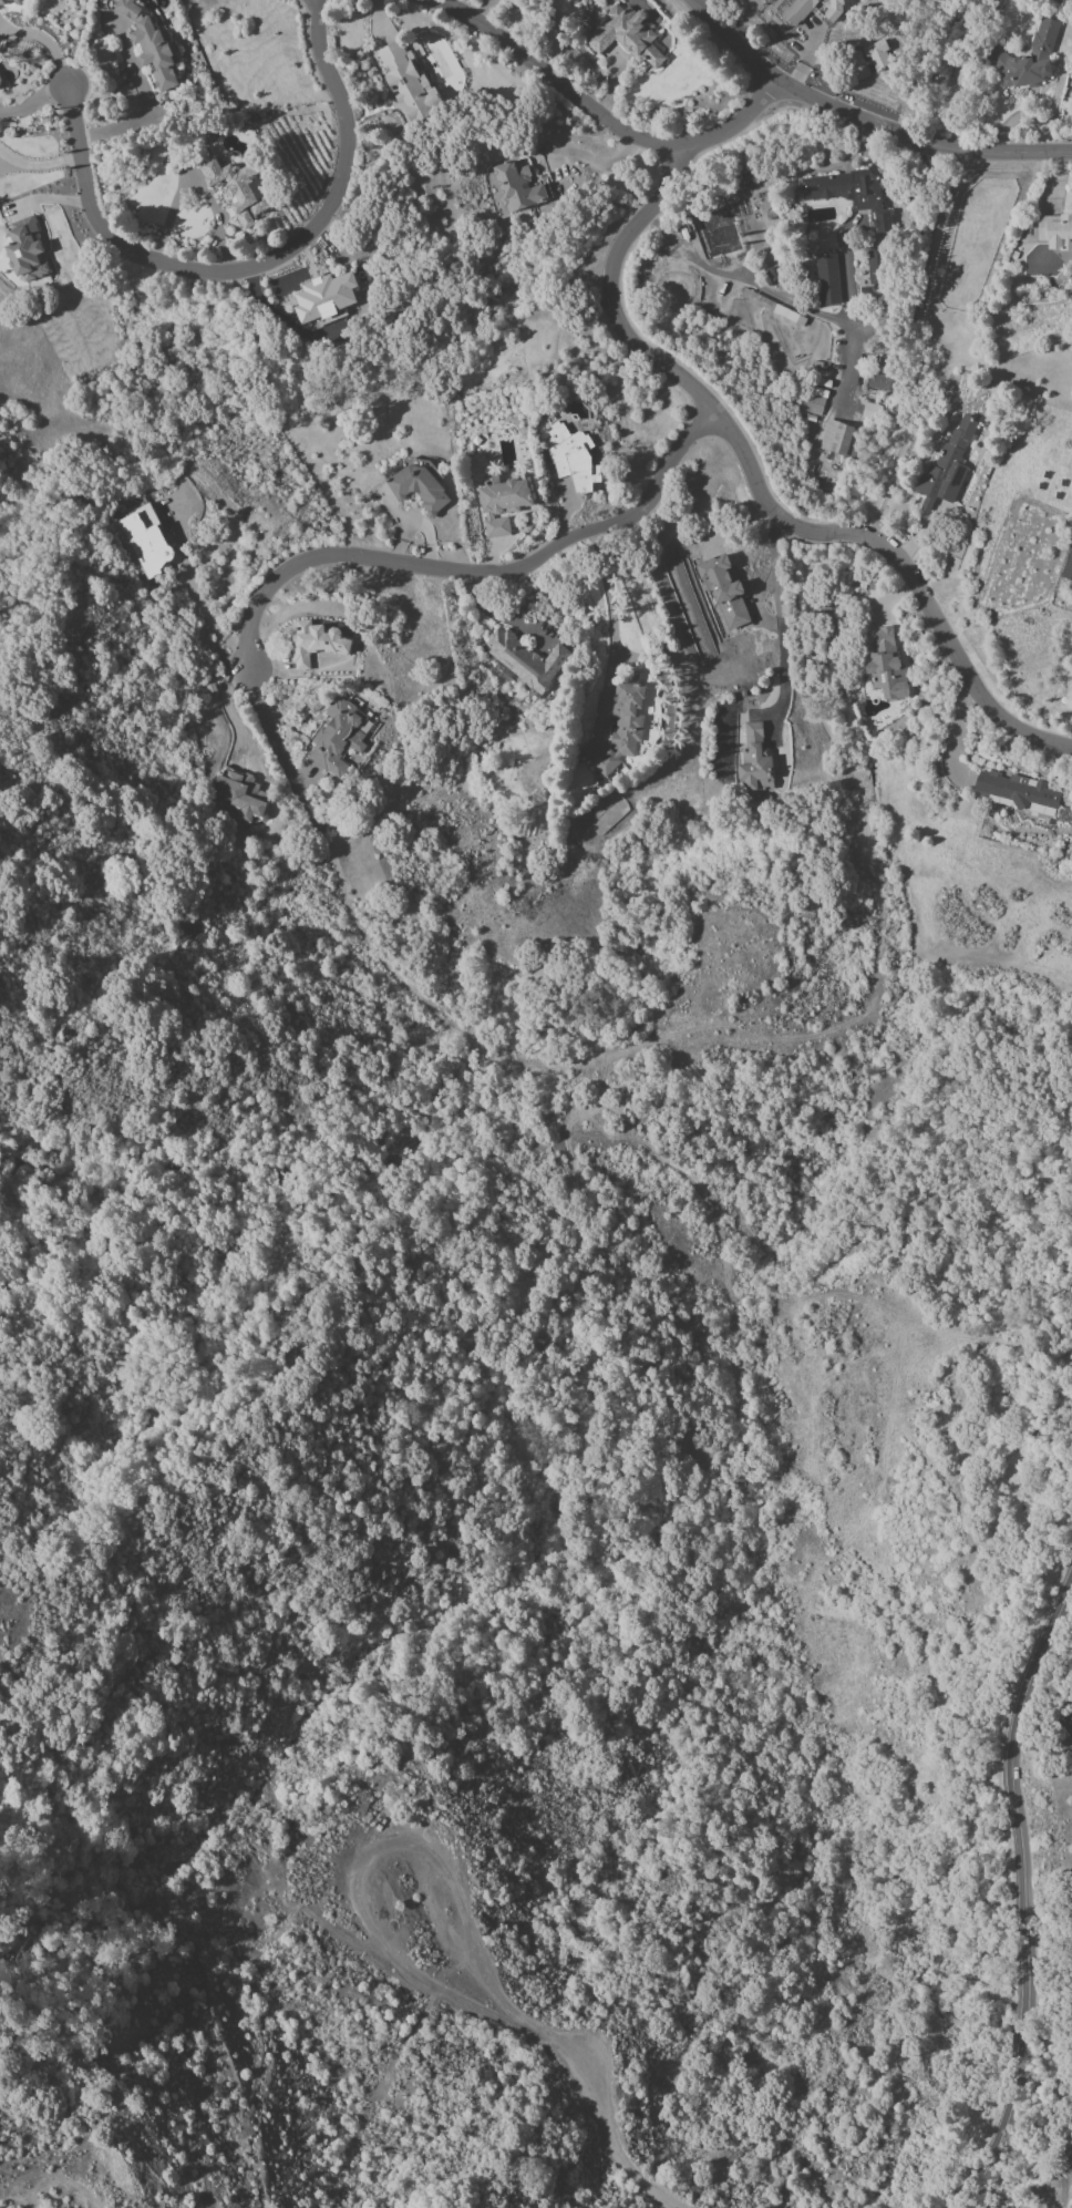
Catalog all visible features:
building: (767, 0)
building: (797, 10)
building: (833, 10)
building: (625, 35)
road: (45, 41)
building: (151, 45)
building: (878, 55)
building: (1027, 61)
building: (409, 82)
road: (34, 100)
road: (600, 116)
road: (864, 119)
road: (138, 120)
road: (40, 164)
building: (518, 186)
building: (236, 188)
building: (847, 193)
building: (1055, 233)
building: (24, 250)
road: (255, 266)
building: (827, 279)
road: (844, 279)
building: (324, 297)
road: (854, 322)
road: (929, 345)
road: (846, 361)
building: (878, 381)
building: (814, 400)
building: (836, 438)
building: (571, 458)
building: (947, 464)
building: (413, 485)
road: (761, 497)
building: (502, 503)
building: (144, 541)
road: (474, 573)
building: (723, 589)
road: (195, 594)
road: (608, 612)
road: (780, 622)
building: (322, 636)
building: (523, 659)
building: (884, 664)
road: (228, 712)
building: (625, 728)
road: (951, 736)
road: (277, 753)
building: (754, 760)
building: (1016, 790)
building: (241, 793)
crop: (49, 1616)
building: (1068, 1721)
road: (368, 1856)
road: (1022, 1892)
road: (600, 2120)
building: (1066, 2151)
crop: (8, 2191)

